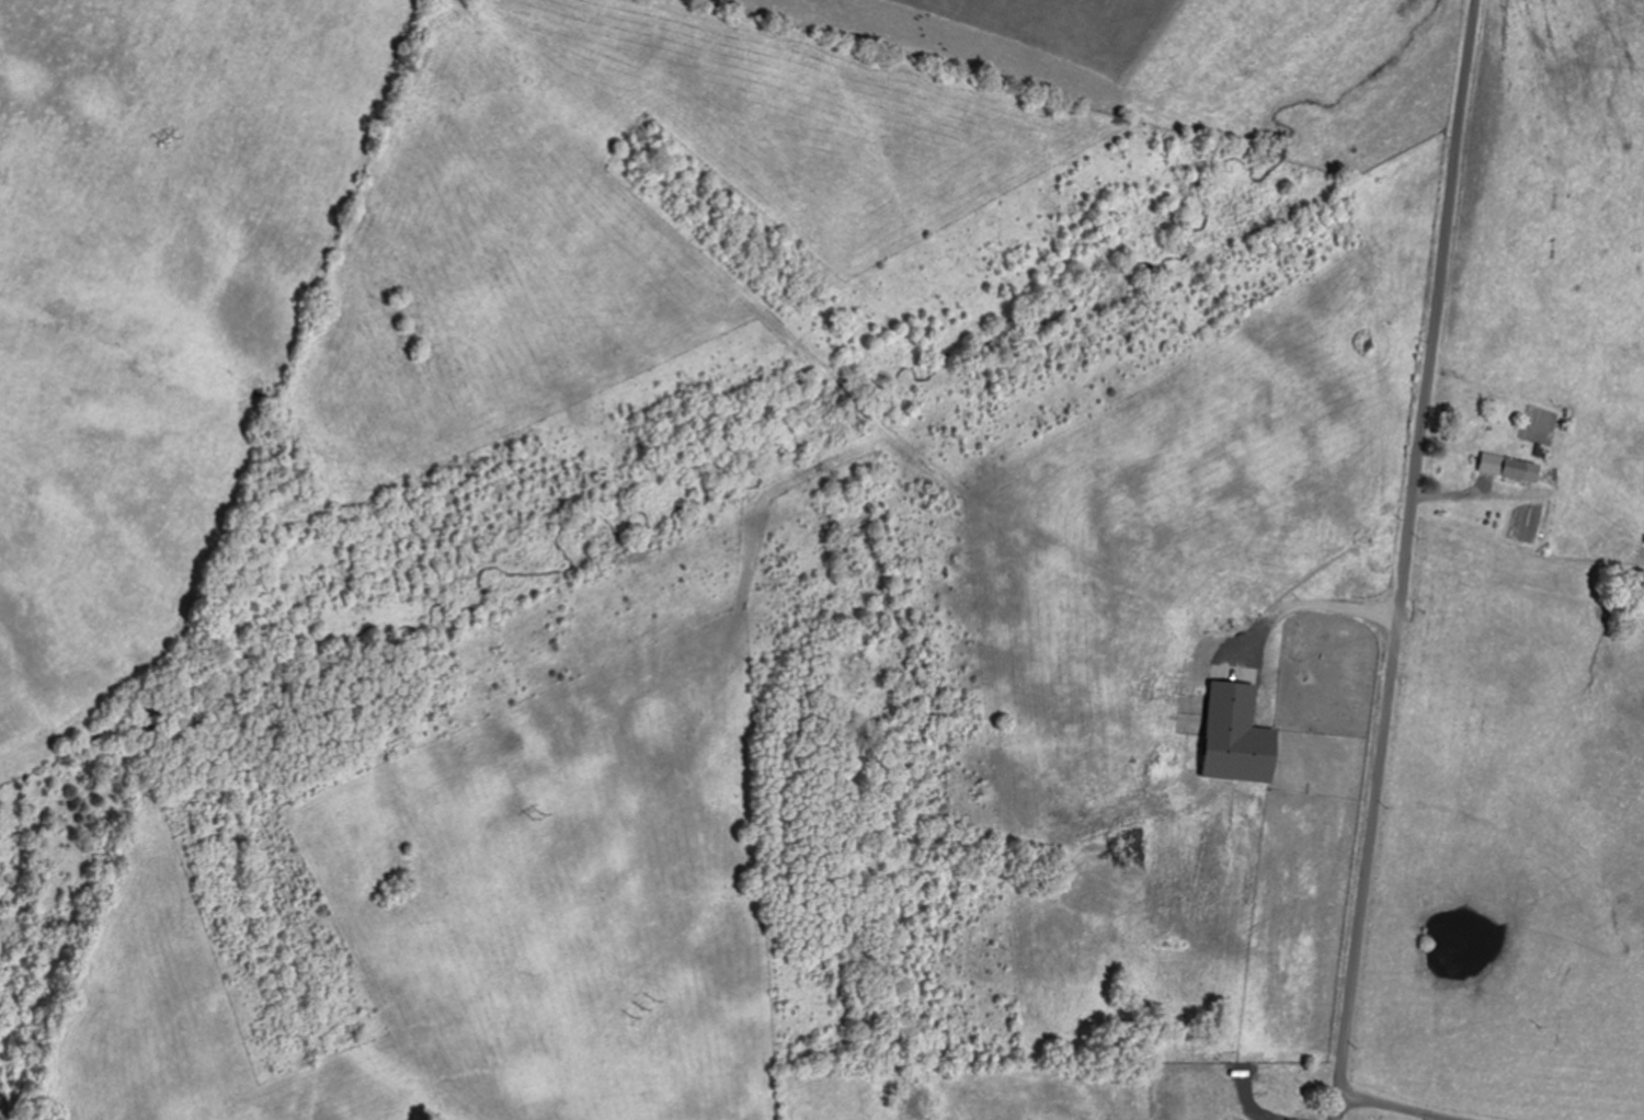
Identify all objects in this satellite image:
building: (1514, 468)
road: (1404, 559)
building: (1374, 596)
building: (1261, 1095)

